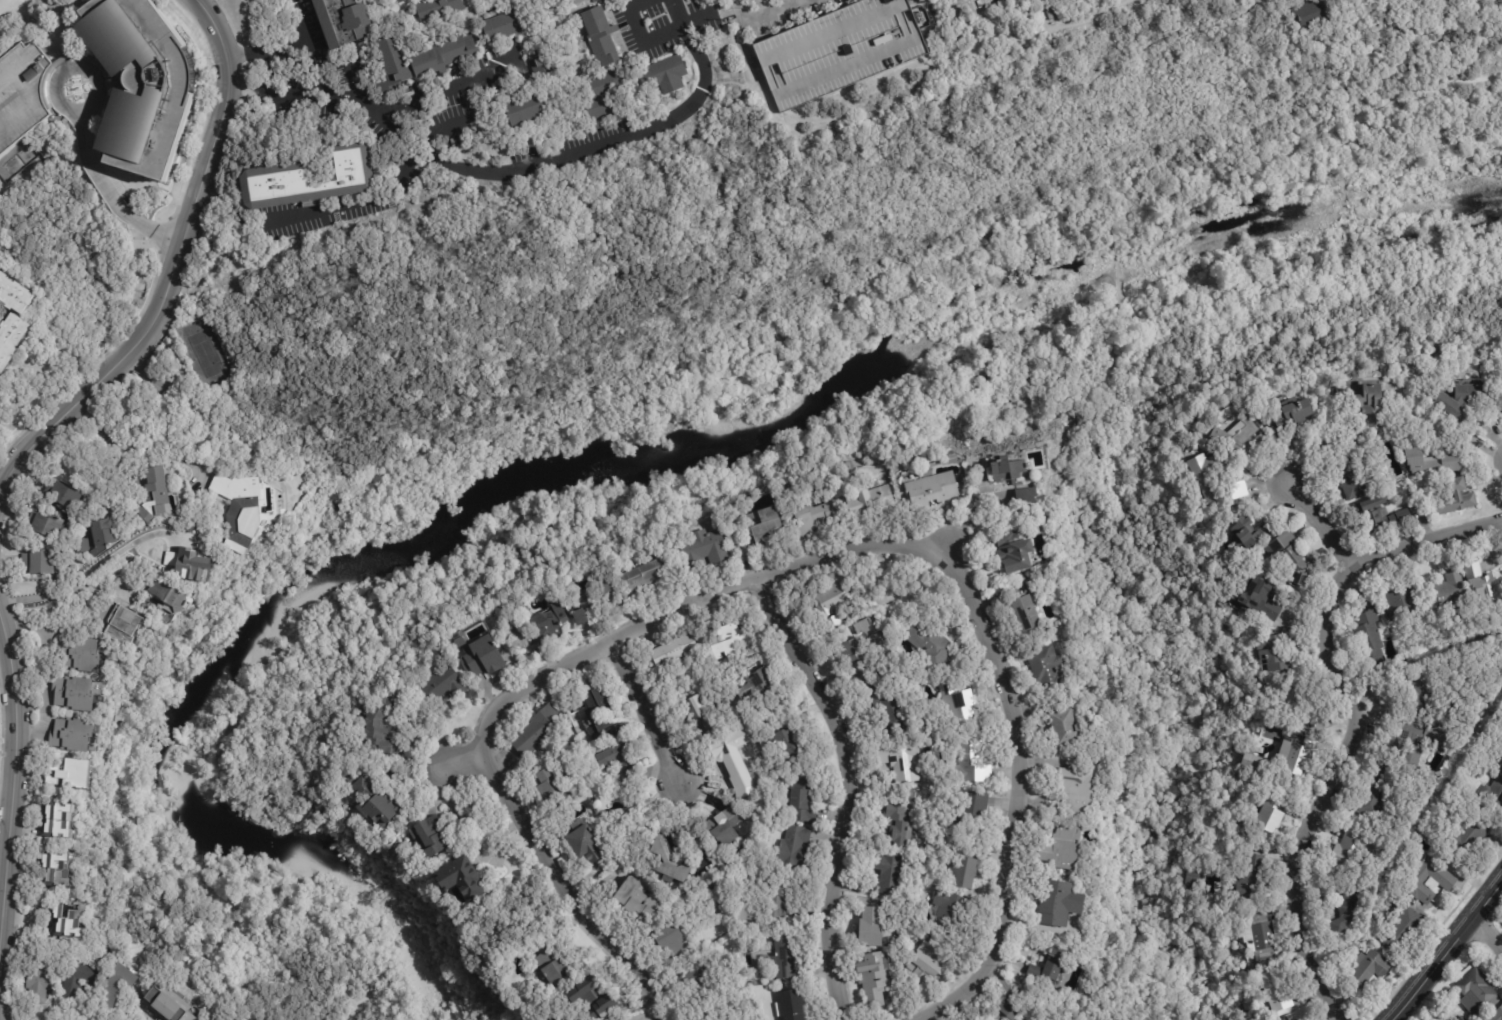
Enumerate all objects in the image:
building: (1072, 0)
building: (303, 1)
building: (577, 1)
road: (939, 4)
road: (764, 6)
building: (438, 10)
building: (1317, 11)
road: (760, 14)
building: (921, 17)
building: (341, 21)
building: (506, 25)
park: (1489, 30)
road: (638, 33)
road: (302, 34)
building: (601, 37)
road: (265, 51)
building: (840, 51)
parking garage: (840, 51)
building: (419, 60)
road: (72, 65)
building: (542, 65)
building: (664, 75)
building: (110, 85)
road: (449, 86)
road: (276, 94)
building: (603, 94)
road: (333, 98)
building: (525, 109)
road: (449, 124)
road: (542, 161)
building: (307, 180)
road: (110, 193)
road: (315, 209)
road: (172, 265)
building: (14, 293)
building: (11, 338)
building: (1464, 401)
building: (1365, 404)
building: (1292, 417)
road: (612, 422)
park: (808, 425)
building: (1237, 434)
building: (1433, 463)
building: (1008, 468)
building: (1210, 474)
building: (1357, 479)
building: (929, 487)
building: (1241, 487)
building: (154, 492)
building: (1023, 493)
building: (64, 494)
building: (872, 498)
building: (1453, 500)
building: (241, 509)
building: (816, 514)
building: (1381, 515)
building: (46, 524)
road: (1319, 524)
building: (765, 526)
building: (1036, 530)
building: (1250, 530)
building: (96, 534)
building: (705, 547)
building: (1011, 552)
building: (1287, 555)
building: (40, 560)
building: (190, 564)
building: (646, 575)
road: (84, 577)
building: (1478, 582)
building: (1446, 588)
building: (1257, 595)
building: (168, 599)
building: (830, 599)
building: (1403, 600)
building: (592, 601)
road: (691, 609)
building: (1027, 612)
building: (836, 620)
building: (545, 624)
building: (126, 625)
building: (1370, 636)
building: (729, 638)
building: (460, 641)
building: (931, 643)
building: (675, 650)
building: (1278, 651)
building: (79, 653)
building: (482, 656)
building: (857, 659)
building: (1047, 664)
building: (442, 684)
building: (756, 686)
building: (1420, 690)
building: (73, 692)
building: (957, 700)
building: (694, 706)
building: (885, 708)
road: (649, 712)
building: (601, 717)
road: (1354, 719)
building: (379, 725)
building: (713, 725)
building: (1066, 727)
building: (538, 729)
building: (69, 733)
building: (1462, 737)
building: (1416, 739)
building: (791, 744)
building: (1294, 751)
building: (732, 756)
building: (618, 757)
road: (459, 758)
building: (901, 760)
building: (1253, 762)
building: (971, 763)
road: (13, 770)
building: (70, 774)
building: (351, 778)
building: (555, 786)
road: (848, 790)
building: (1078, 790)
building: (1494, 794)
building: (1376, 799)
building: (801, 800)
road: (1015, 801)
building: (377, 806)
building: (972, 808)
building: (826, 812)
building: (1268, 812)
building: (59, 820)
building: (899, 823)
building: (723, 827)
building: (433, 835)
building: (1468, 836)
building: (586, 844)
building: (1064, 846)
building: (795, 849)
building: (1349, 849)
building: (669, 862)
building: (964, 868)
building: (53, 869)
building: (888, 873)
building: (1194, 877)
building: (461, 878)
building: (1254, 879)
building: (1429, 880)
road: (567, 887)
building: (710, 887)
building: (638, 902)
building: (1061, 903)
building: (776, 905)
building: (1348, 909)
building: (949, 910)
building: (741, 911)
building: (65, 917)
building: (872, 927)
building: (1402, 931)
building: (771, 932)
road: (1488, 935)
building: (1262, 936)
building: (672, 941)
road: (1448, 951)
building: (785, 957)
building: (925, 964)
building: (554, 968)
building: (1049, 968)
building: (1370, 968)
building: (79, 975)
building: (692, 976)
building: (874, 976)
building: (38, 979)
building: (117, 984)
building: (1473, 990)
building: (1277, 991)
building: (590, 1000)
building: (167, 1004)
building: (791, 1006)
building: (1014, 1010)
building: (1494, 1013)
building: (713, 1018)
building: (1462, 1018)
building: (1043, 1019)

